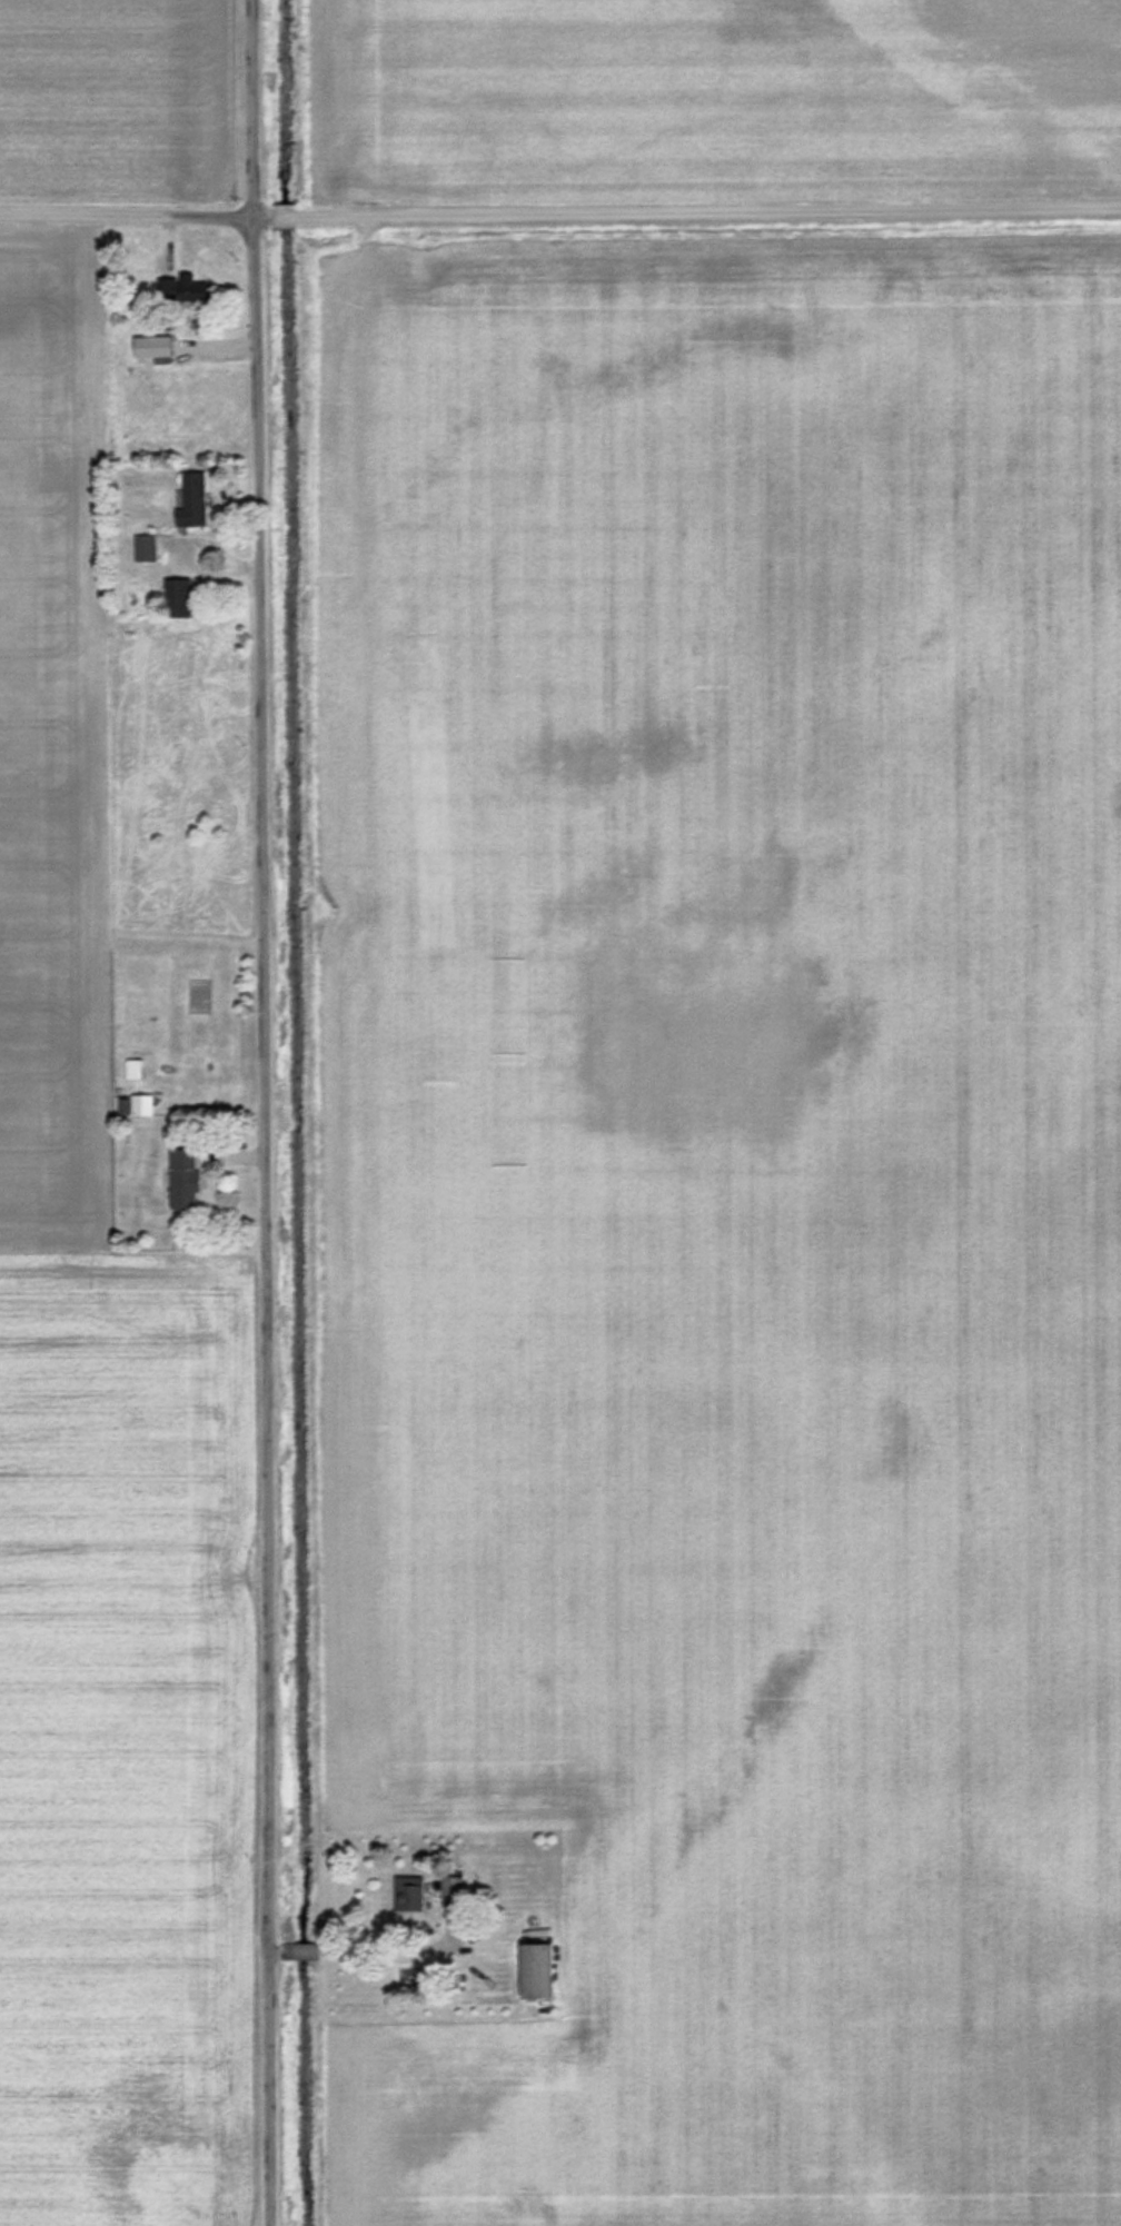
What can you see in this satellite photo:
road: (560, 220)
building: (178, 287)
building: (157, 346)
building: (190, 500)
building: (145, 547)
building: (175, 597)
building: (132, 1067)
building: (136, 1104)
road: (268, 1112)
building: (182, 1177)
building: (408, 1897)
road: (380, 1946)
road: (286, 1947)
road: (304, 1947)
building: (533, 1970)

